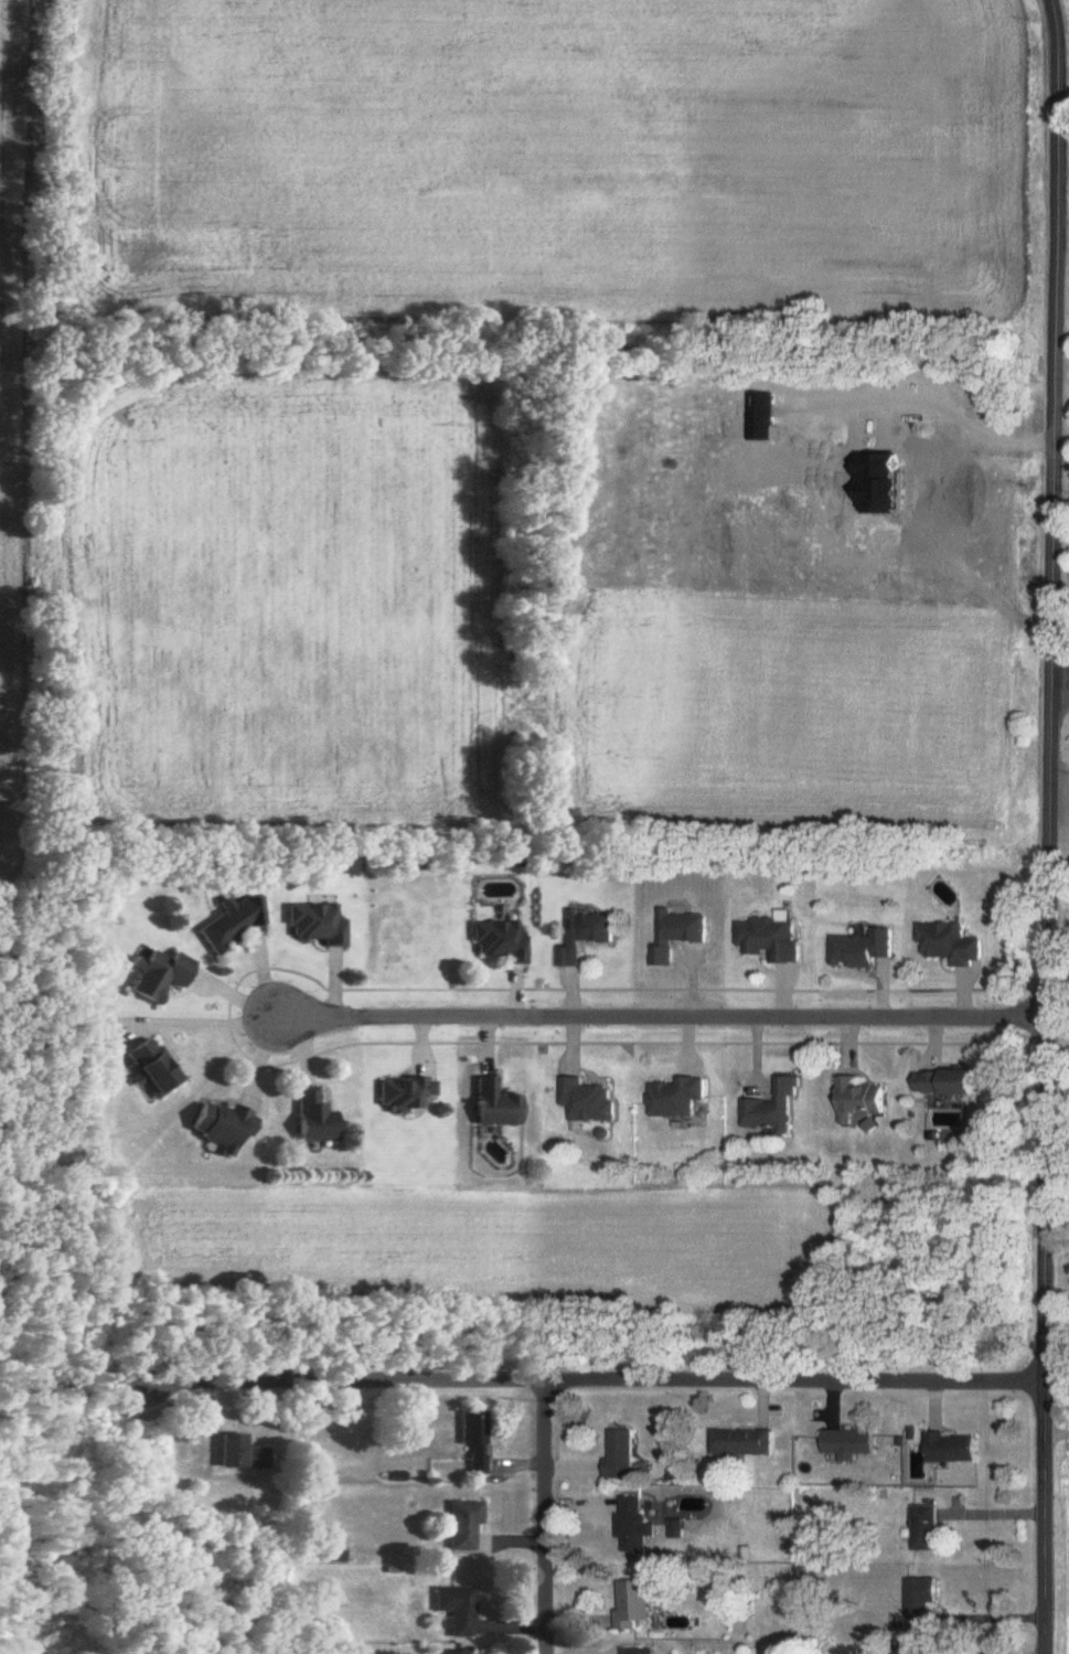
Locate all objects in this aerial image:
crop: (7, 446)
road: (1060, 681)
road: (1054, 826)
building: (235, 924)
building: (318, 926)
building: (682, 936)
building: (588, 937)
building: (774, 940)
building: (501, 942)
building: (953, 946)
building: (866, 950)
building: (160, 975)
road: (644, 1020)
building: (154, 1069)
building: (954, 1085)
building: (407, 1093)
building: (681, 1099)
building: (863, 1101)
building: (591, 1102)
building: (498, 1106)
building: (777, 1109)
building: (316, 1120)
building: (224, 1128)
crop: (489, 1237)
road: (579, 1383)
road: (1059, 1422)
building: (475, 1441)
building: (744, 1443)
building: (852, 1444)
building: (955, 1449)
building: (623, 1454)
building: (245, 1455)
road: (544, 1518)
building: (638, 1522)
building: (464, 1525)
building: (927, 1529)
building: (923, 1599)
building: (635, 1604)
building: (458, 1610)
building: (641, 1651)
building: (920, 1651)
building: (458, 1652)

